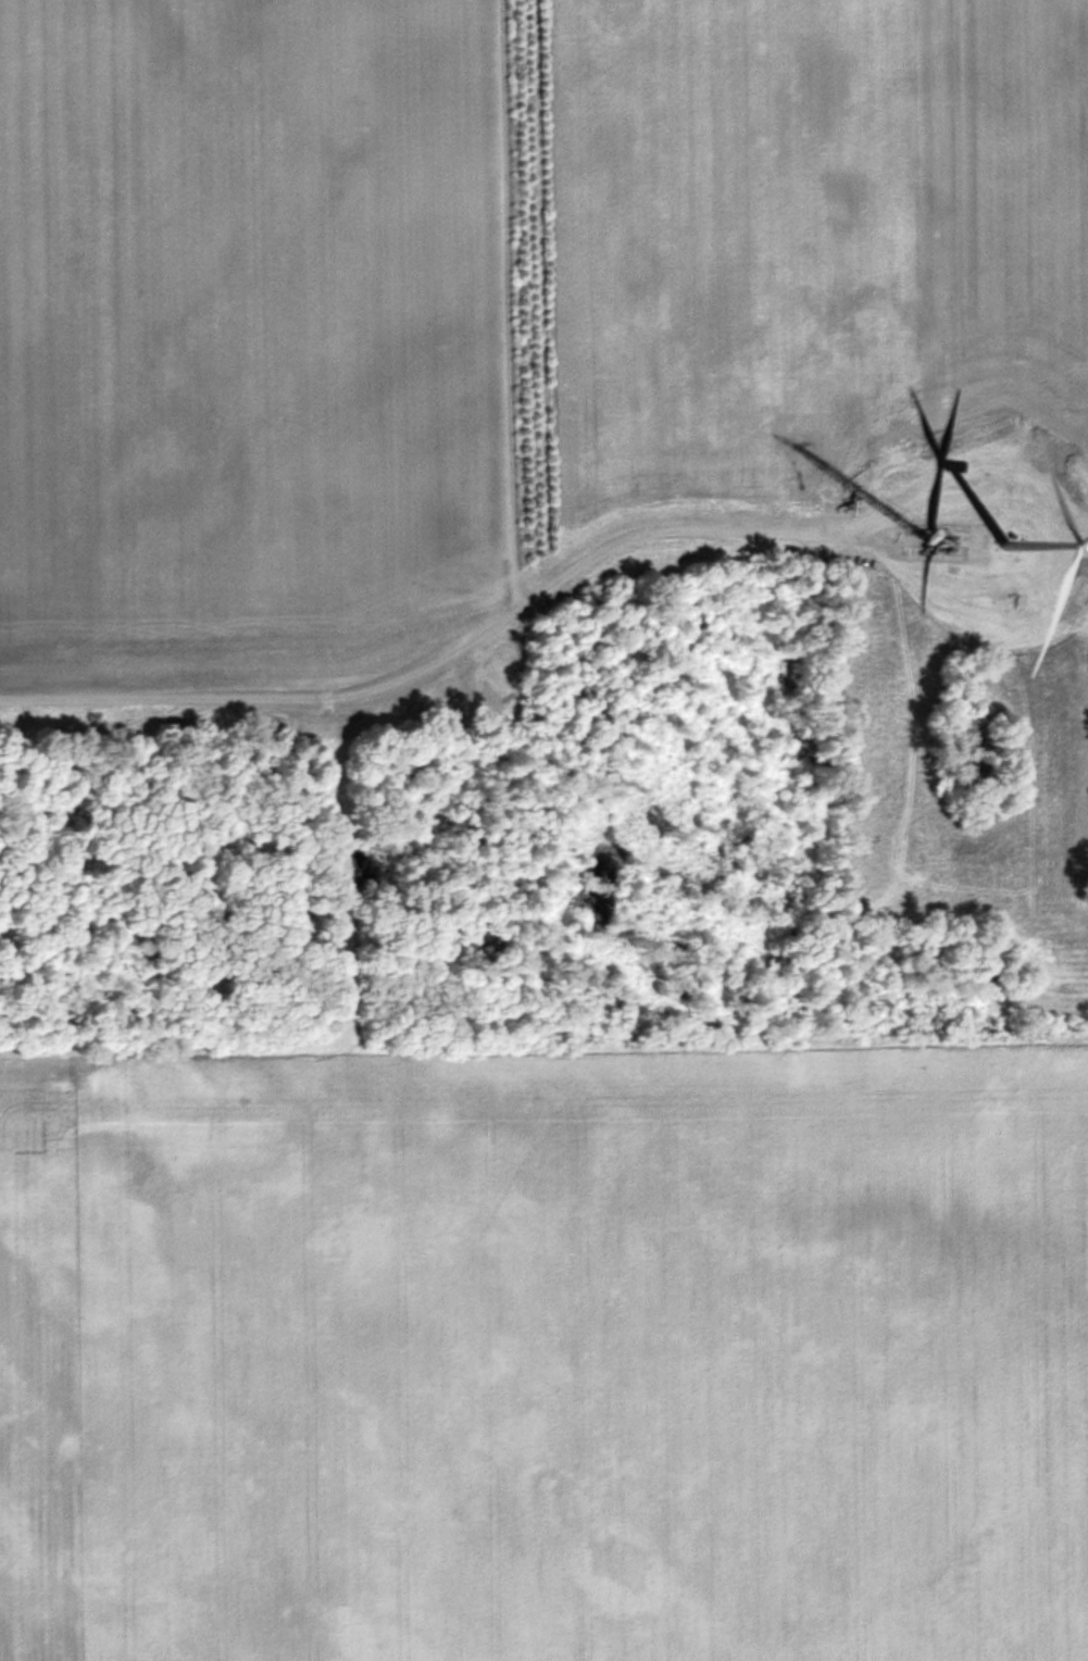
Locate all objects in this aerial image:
wind turbine: (1005, 540)

